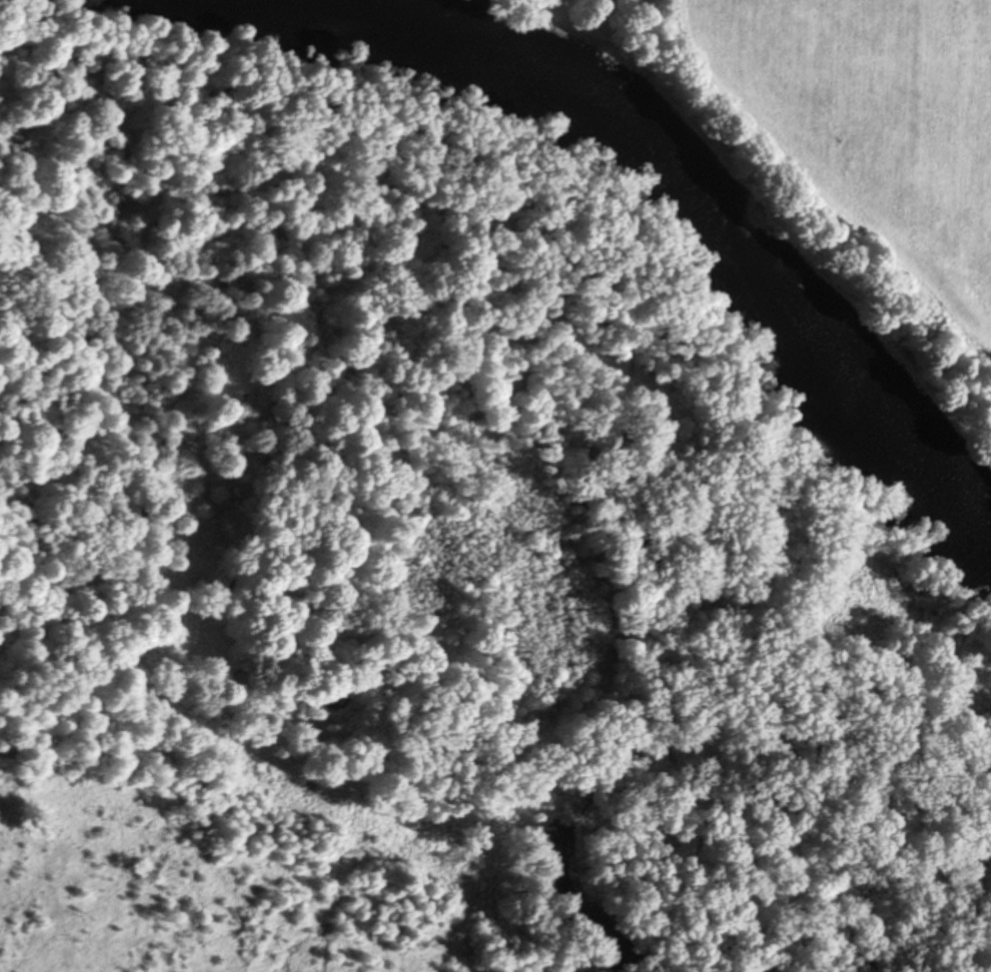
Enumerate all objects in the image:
road: (966, 34)
river: (681, 221)

